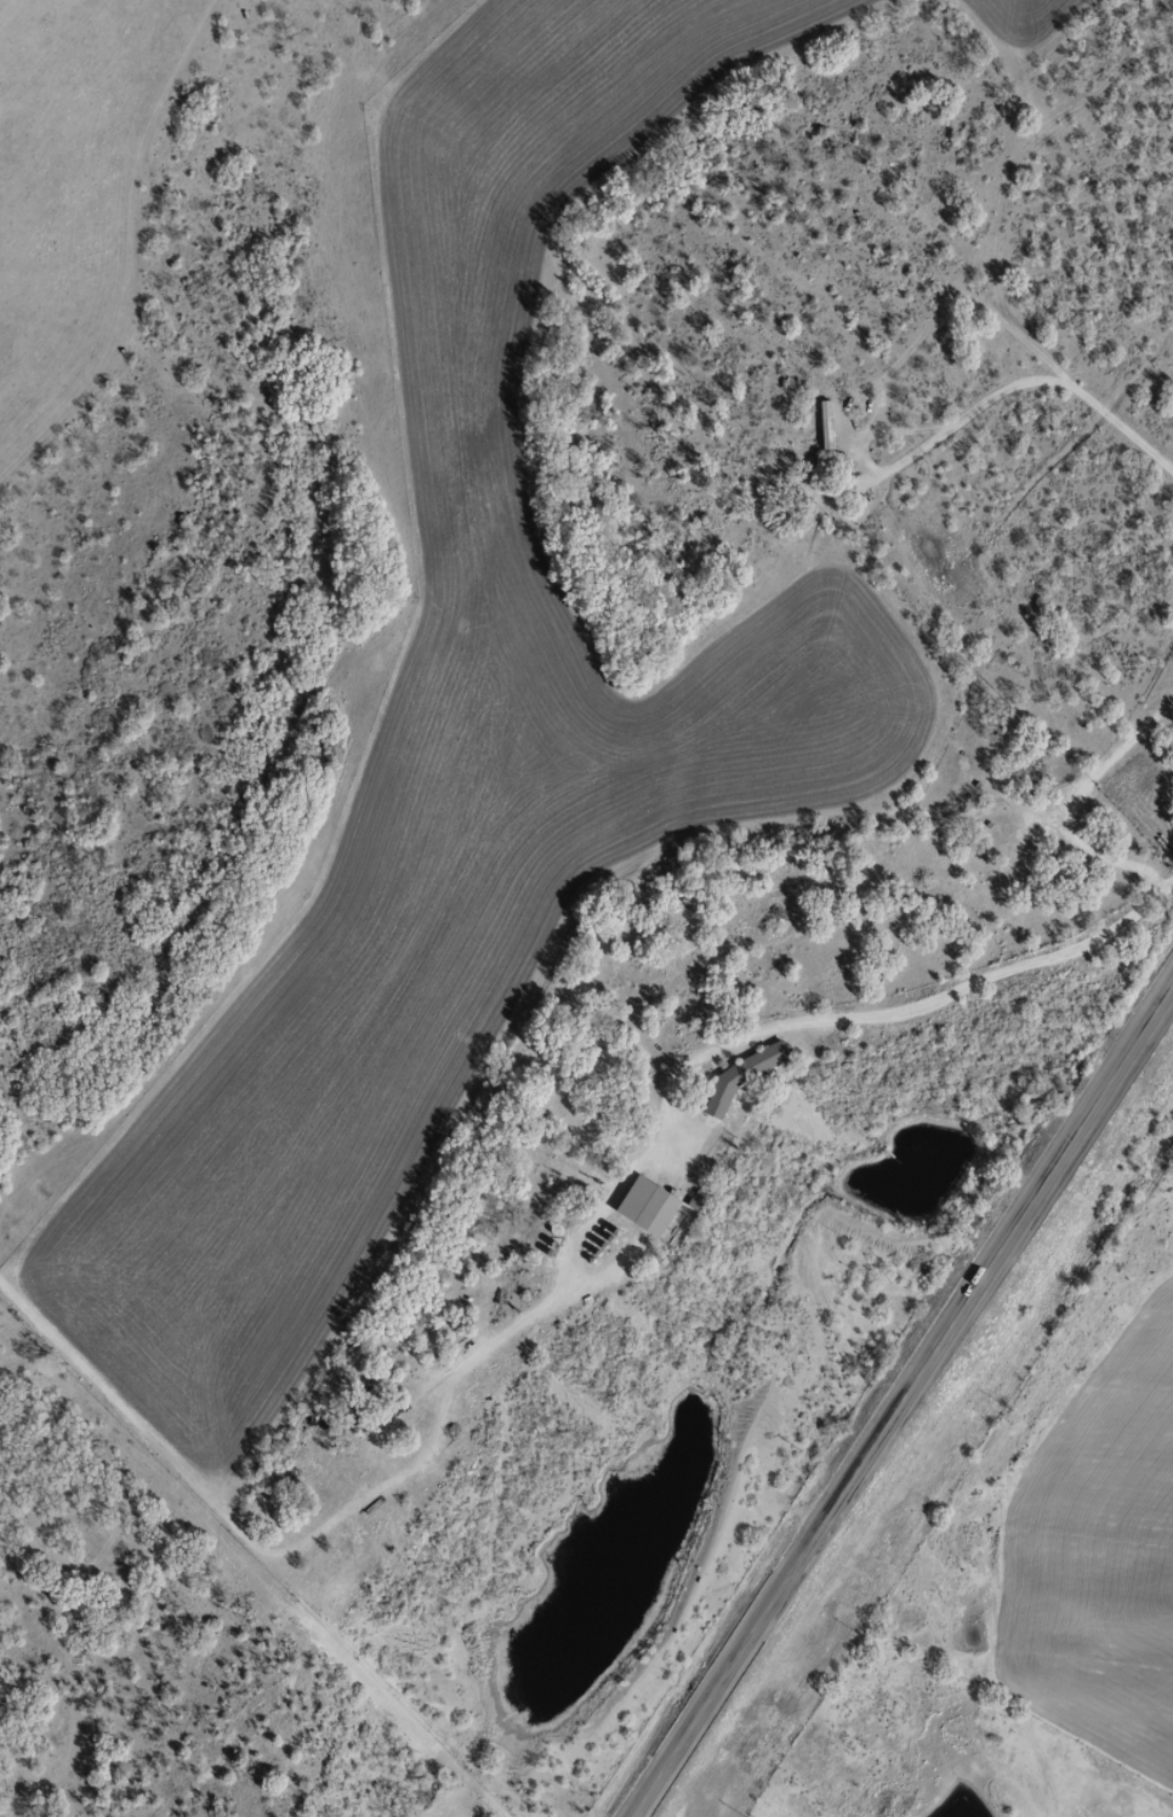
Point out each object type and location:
crop: (1015, 19)
crop: (69, 174)
road: (1025, 375)
building: (824, 424)
crop: (444, 742)
road: (898, 1016)
building: (650, 1206)
road: (896, 1406)
road: (215, 1560)

